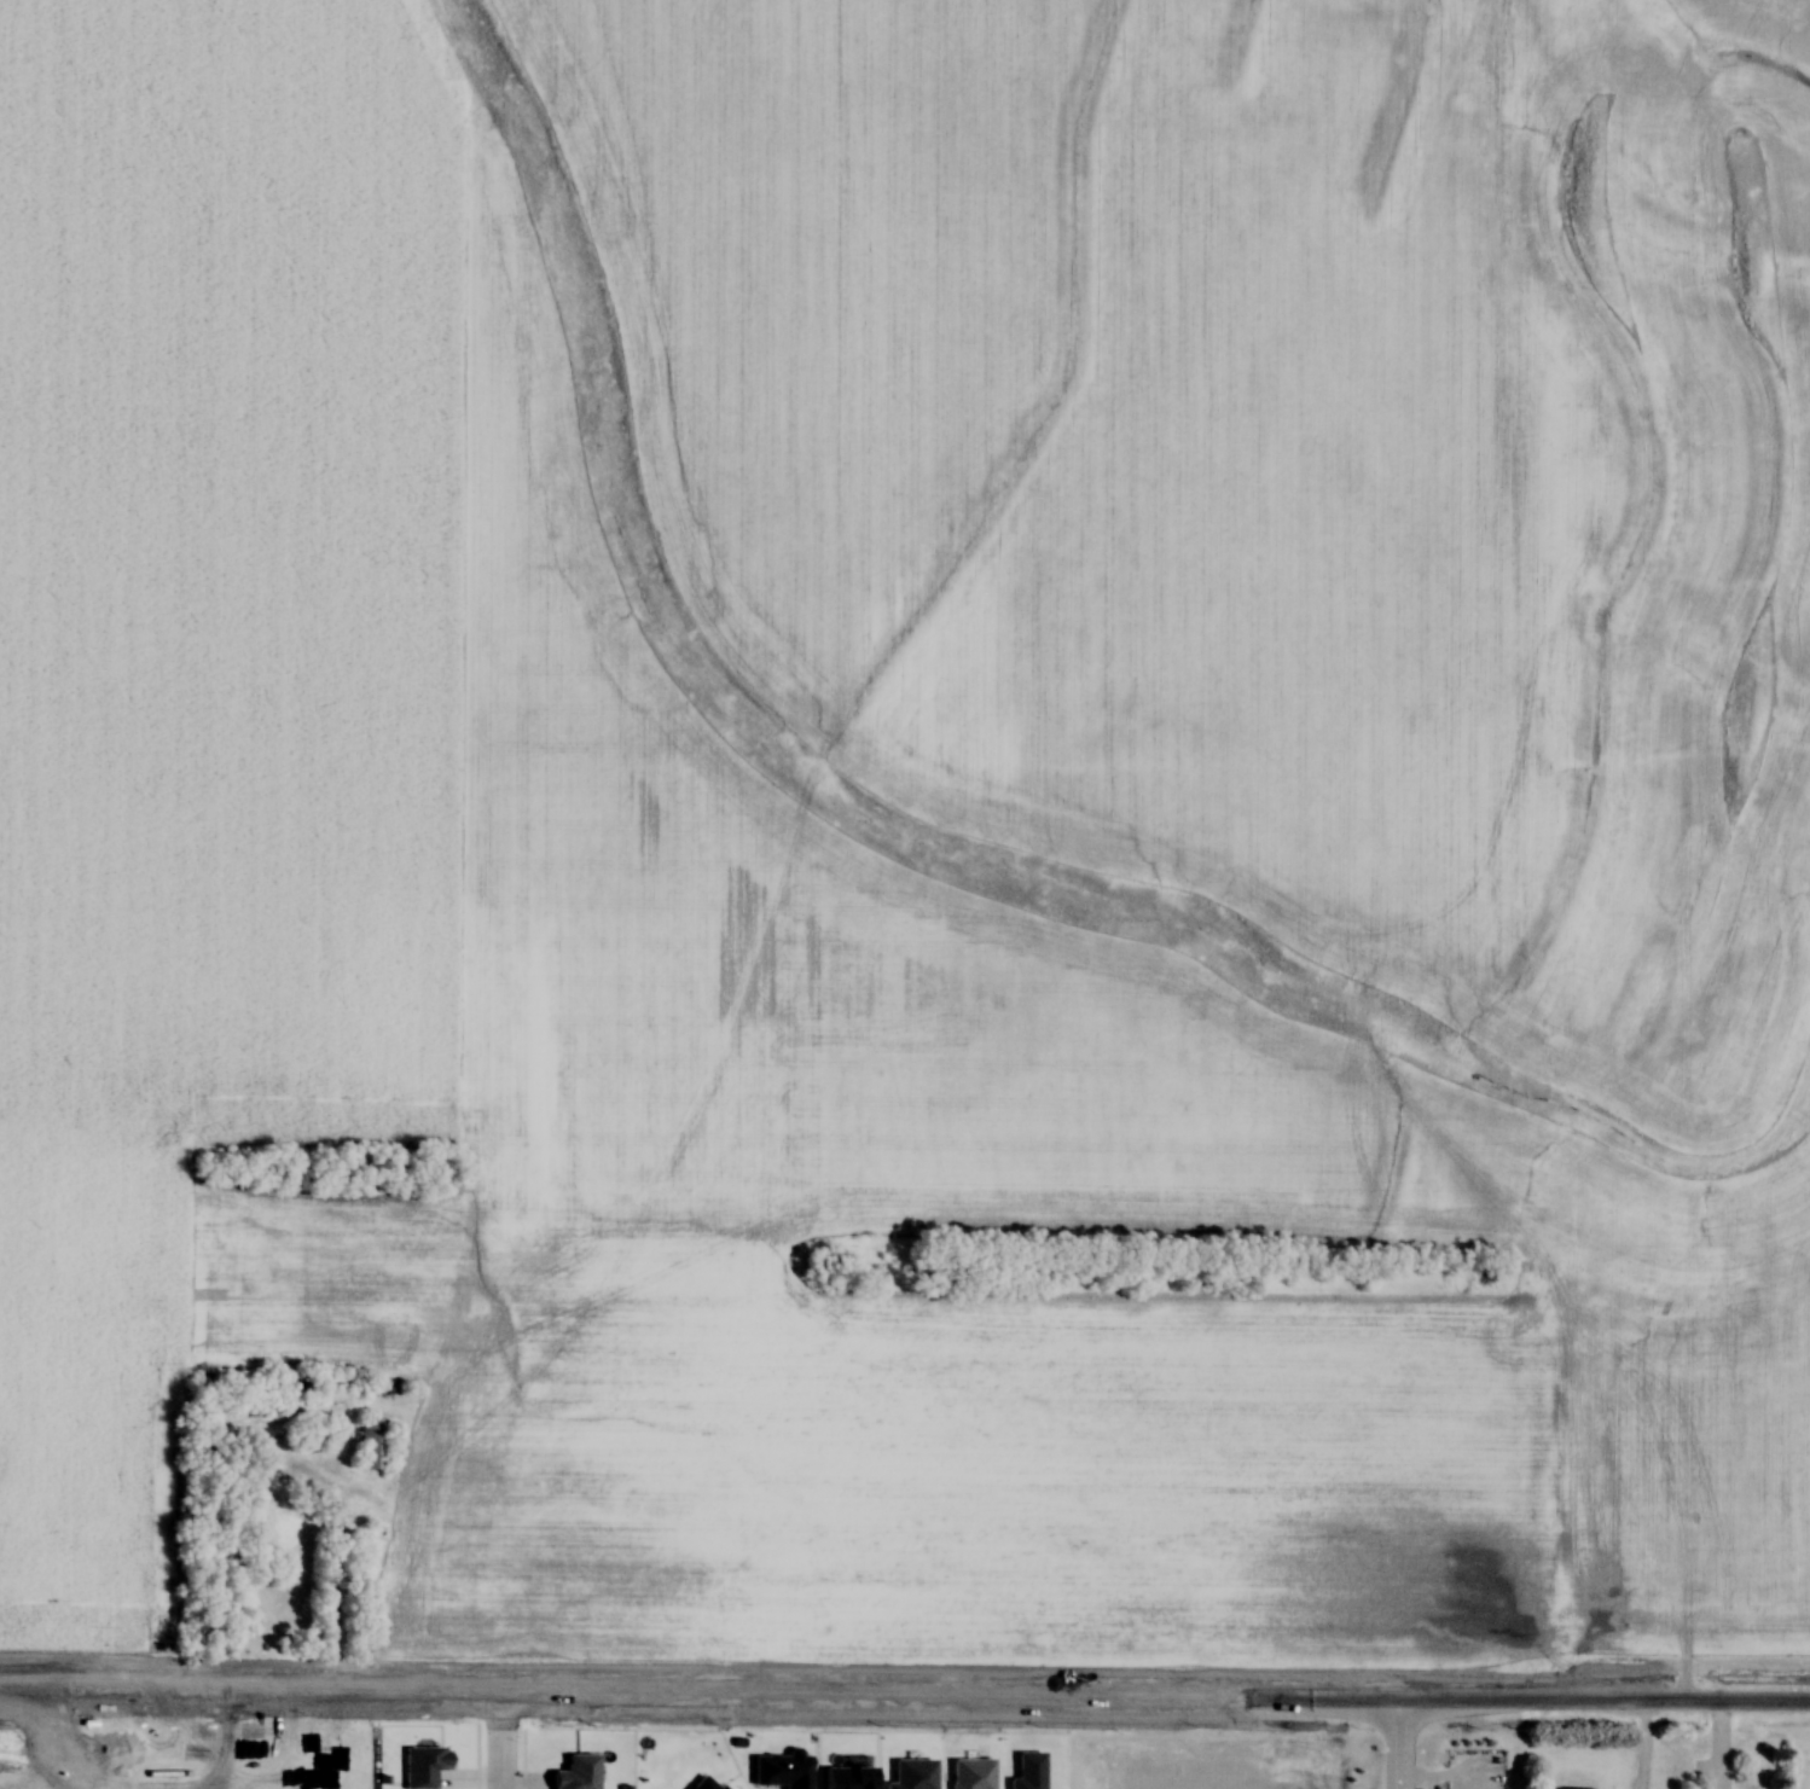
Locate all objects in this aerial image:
building: (370, 1444)
road: (904, 1700)
road: (503, 1741)
road: (1408, 1744)

